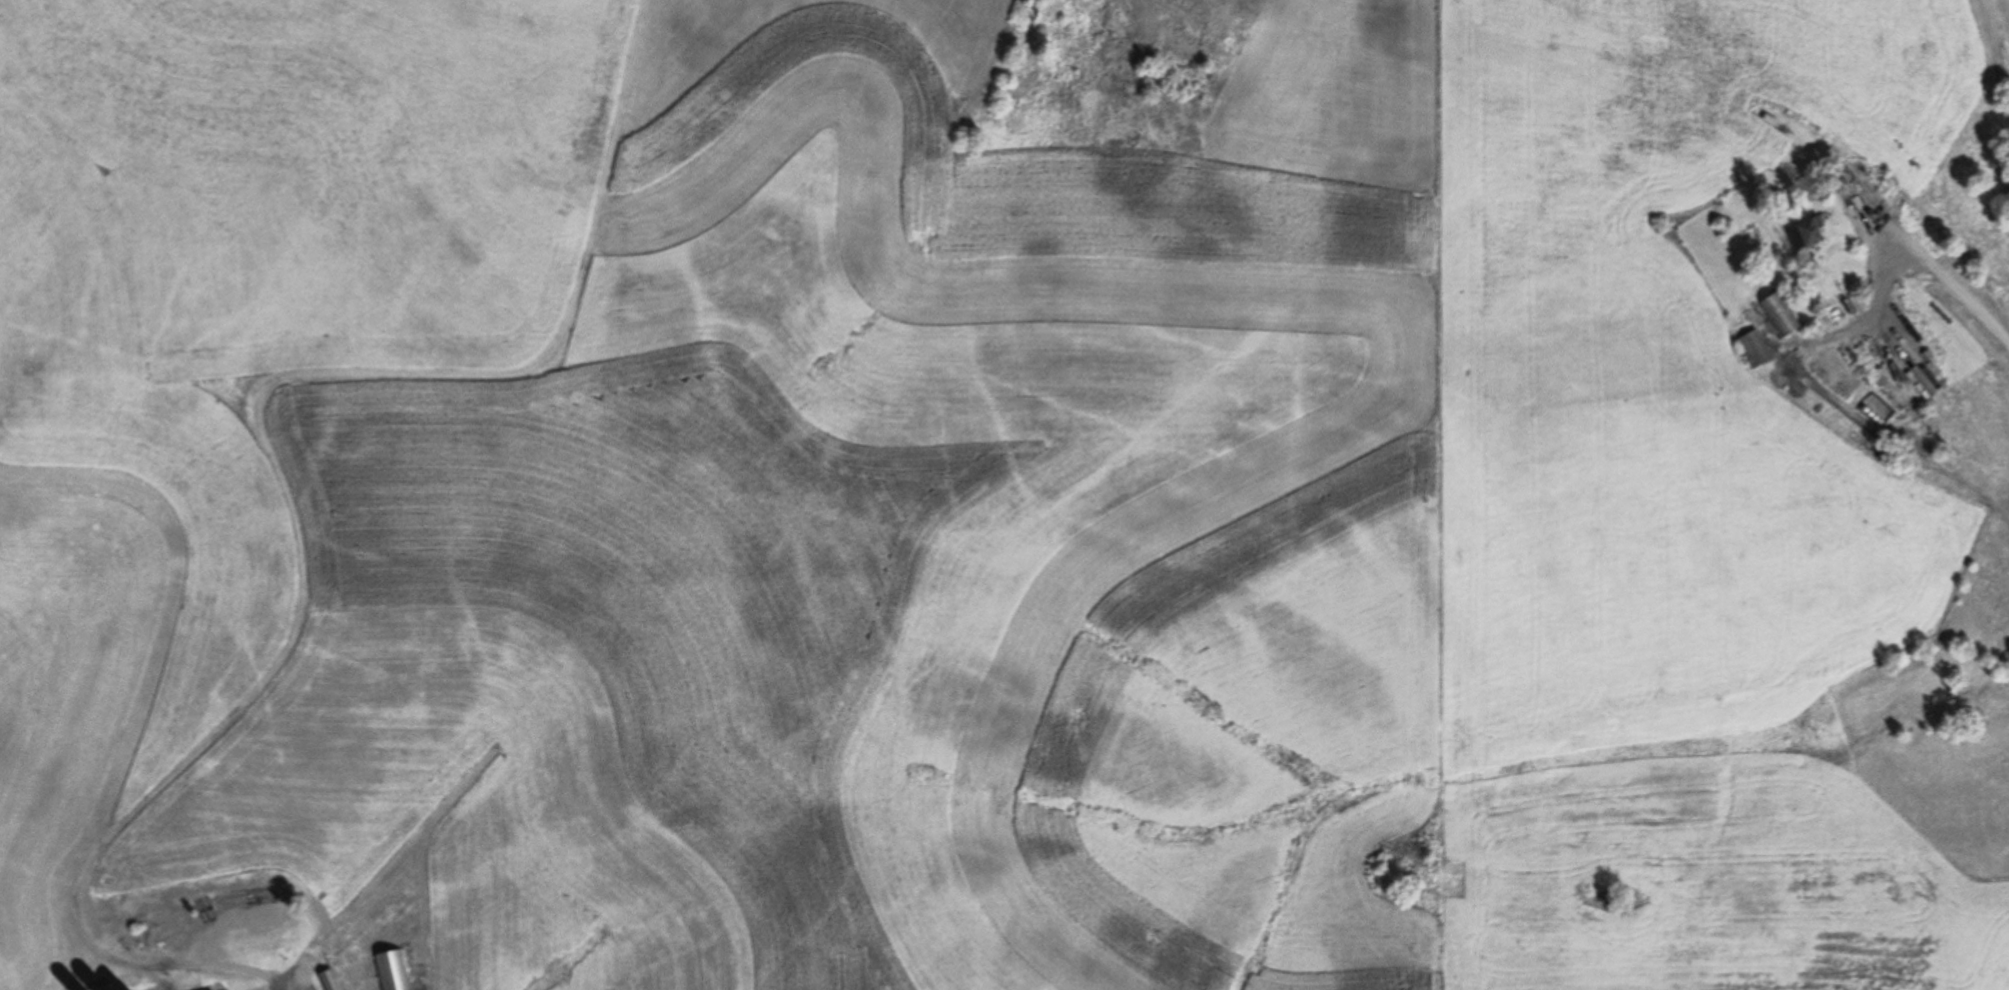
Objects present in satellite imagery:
building: (1804, 233)
road: (1939, 270)
building: (1779, 314)
building: (1753, 349)
building: (1889, 354)
building: (393, 970)
building: (328, 980)

